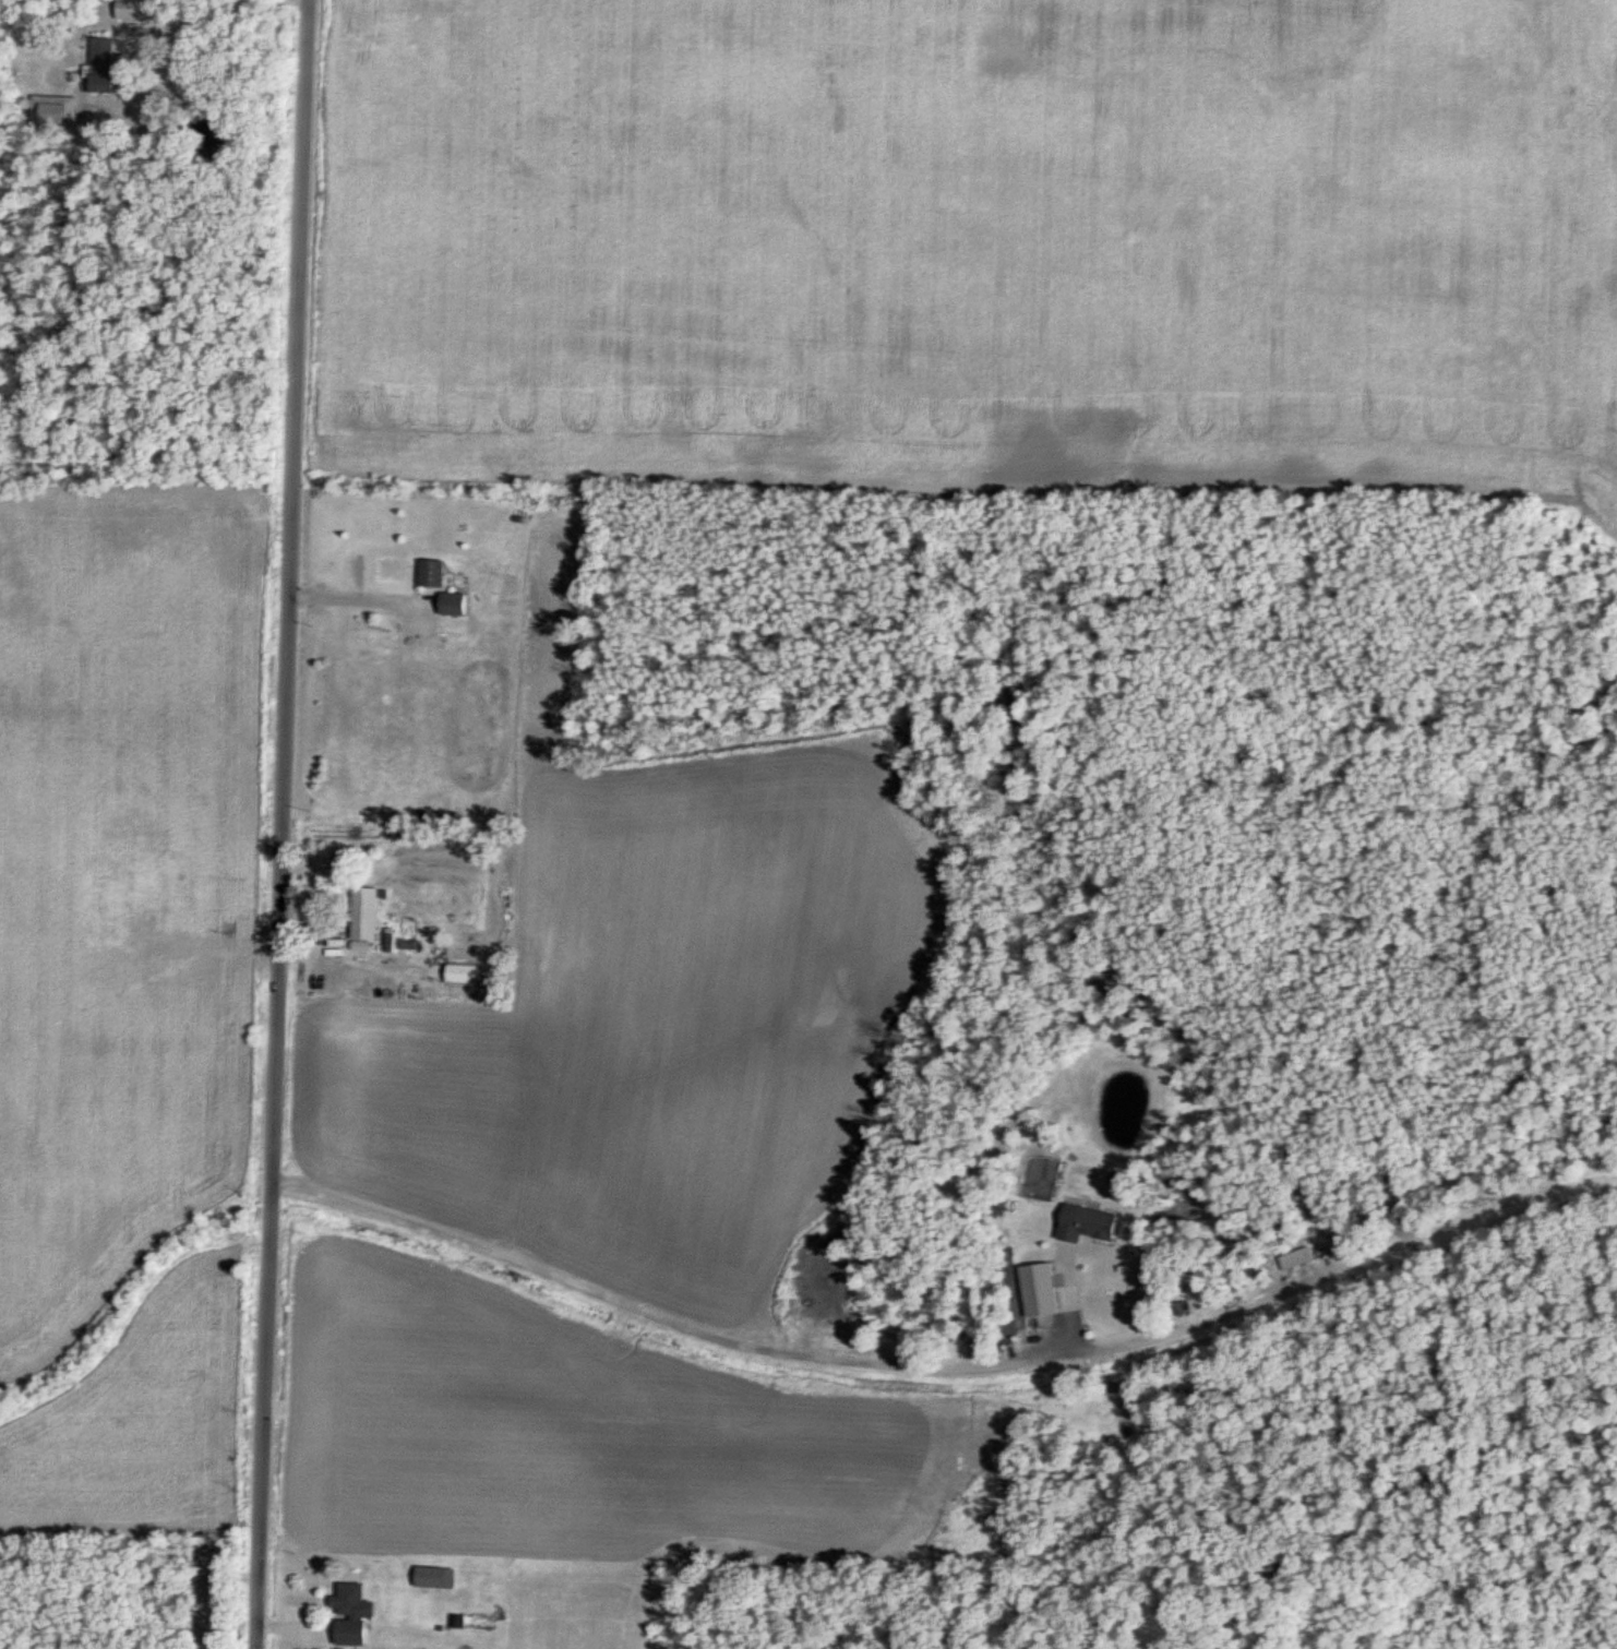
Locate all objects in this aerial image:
building: (140, 10)
road: (192, 20)
building: (110, 65)
building: (436, 573)
building: (459, 604)
road: (285, 824)
building: (172, 911)
building: (368, 913)
building: (467, 973)
building: (1081, 1222)
building: (1034, 1288)
building: (351, 1620)

